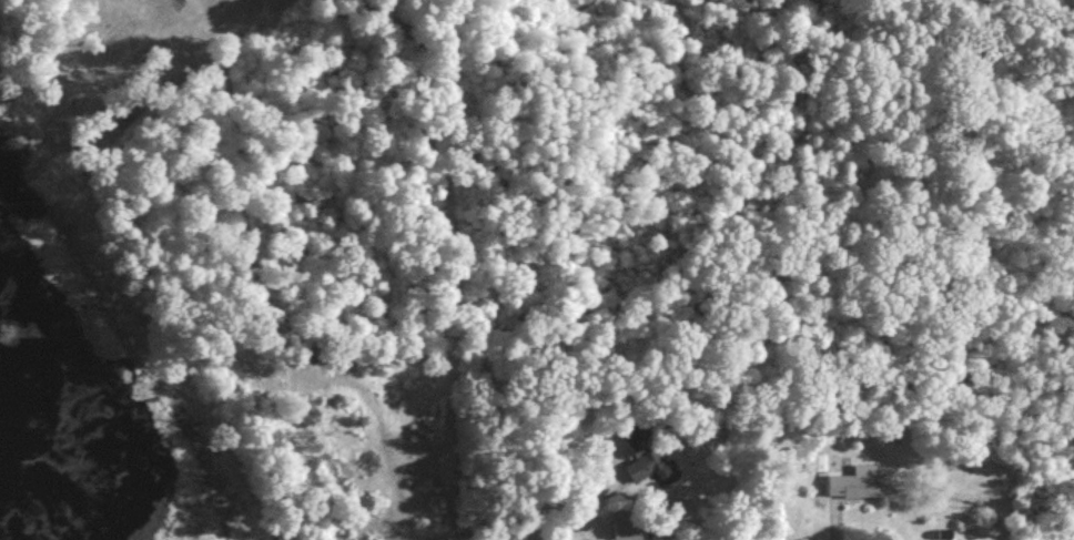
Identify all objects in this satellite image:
building: (247, 385)
road: (358, 465)
building: (649, 467)
building: (855, 488)
road: (564, 501)
building: (630, 533)

